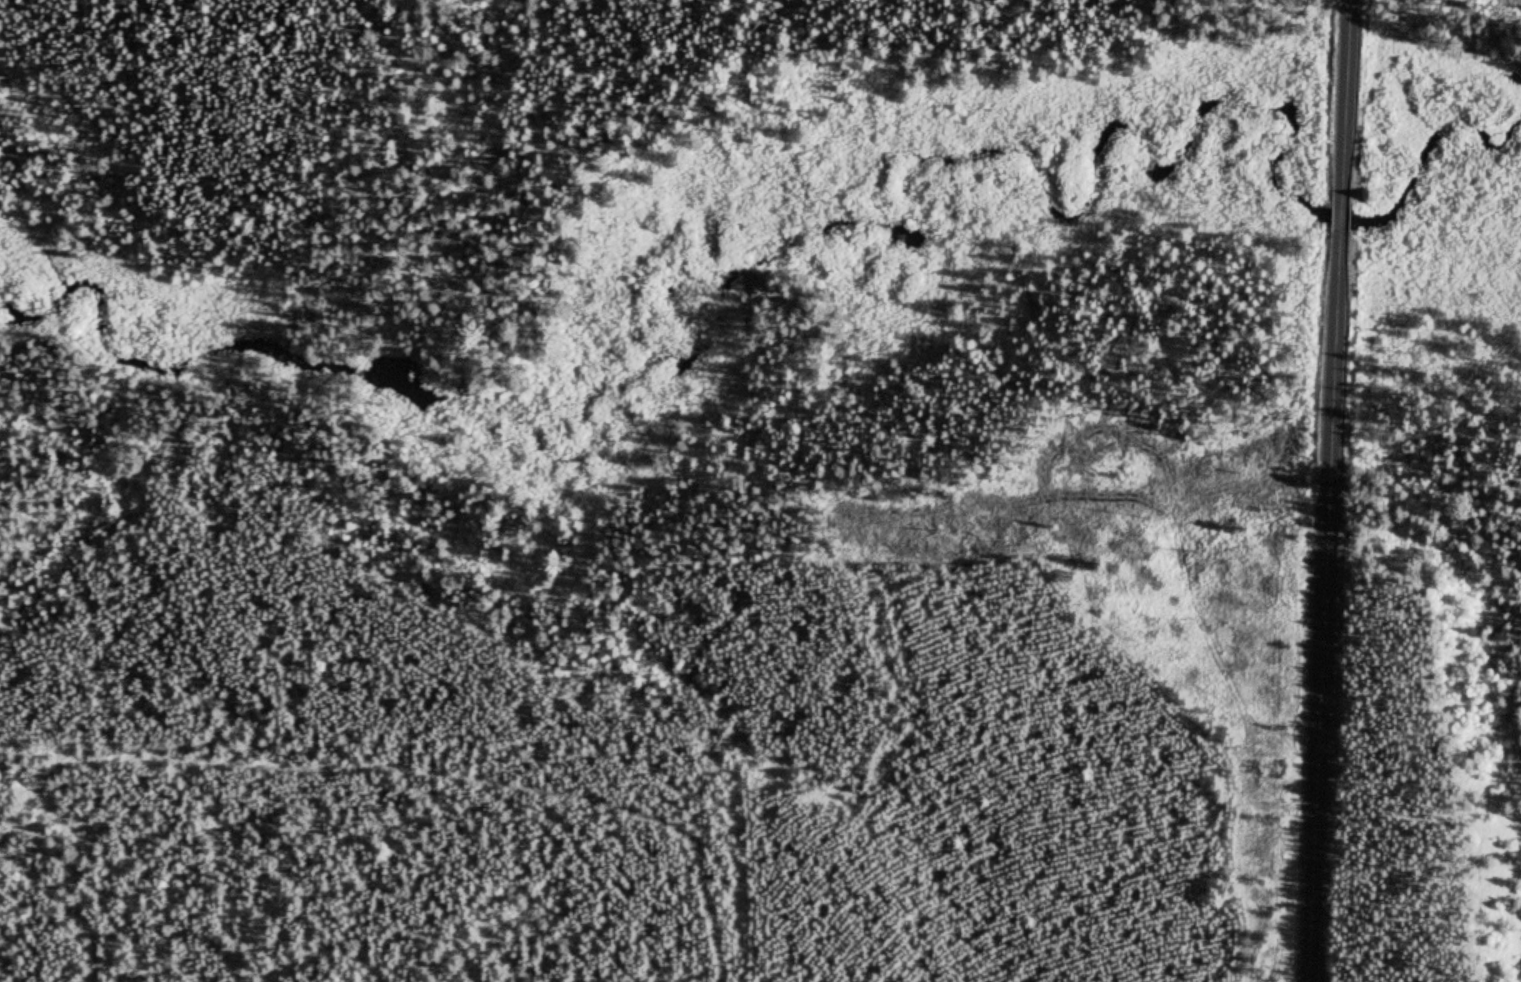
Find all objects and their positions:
river: (810, 273)
road: (1322, 490)

